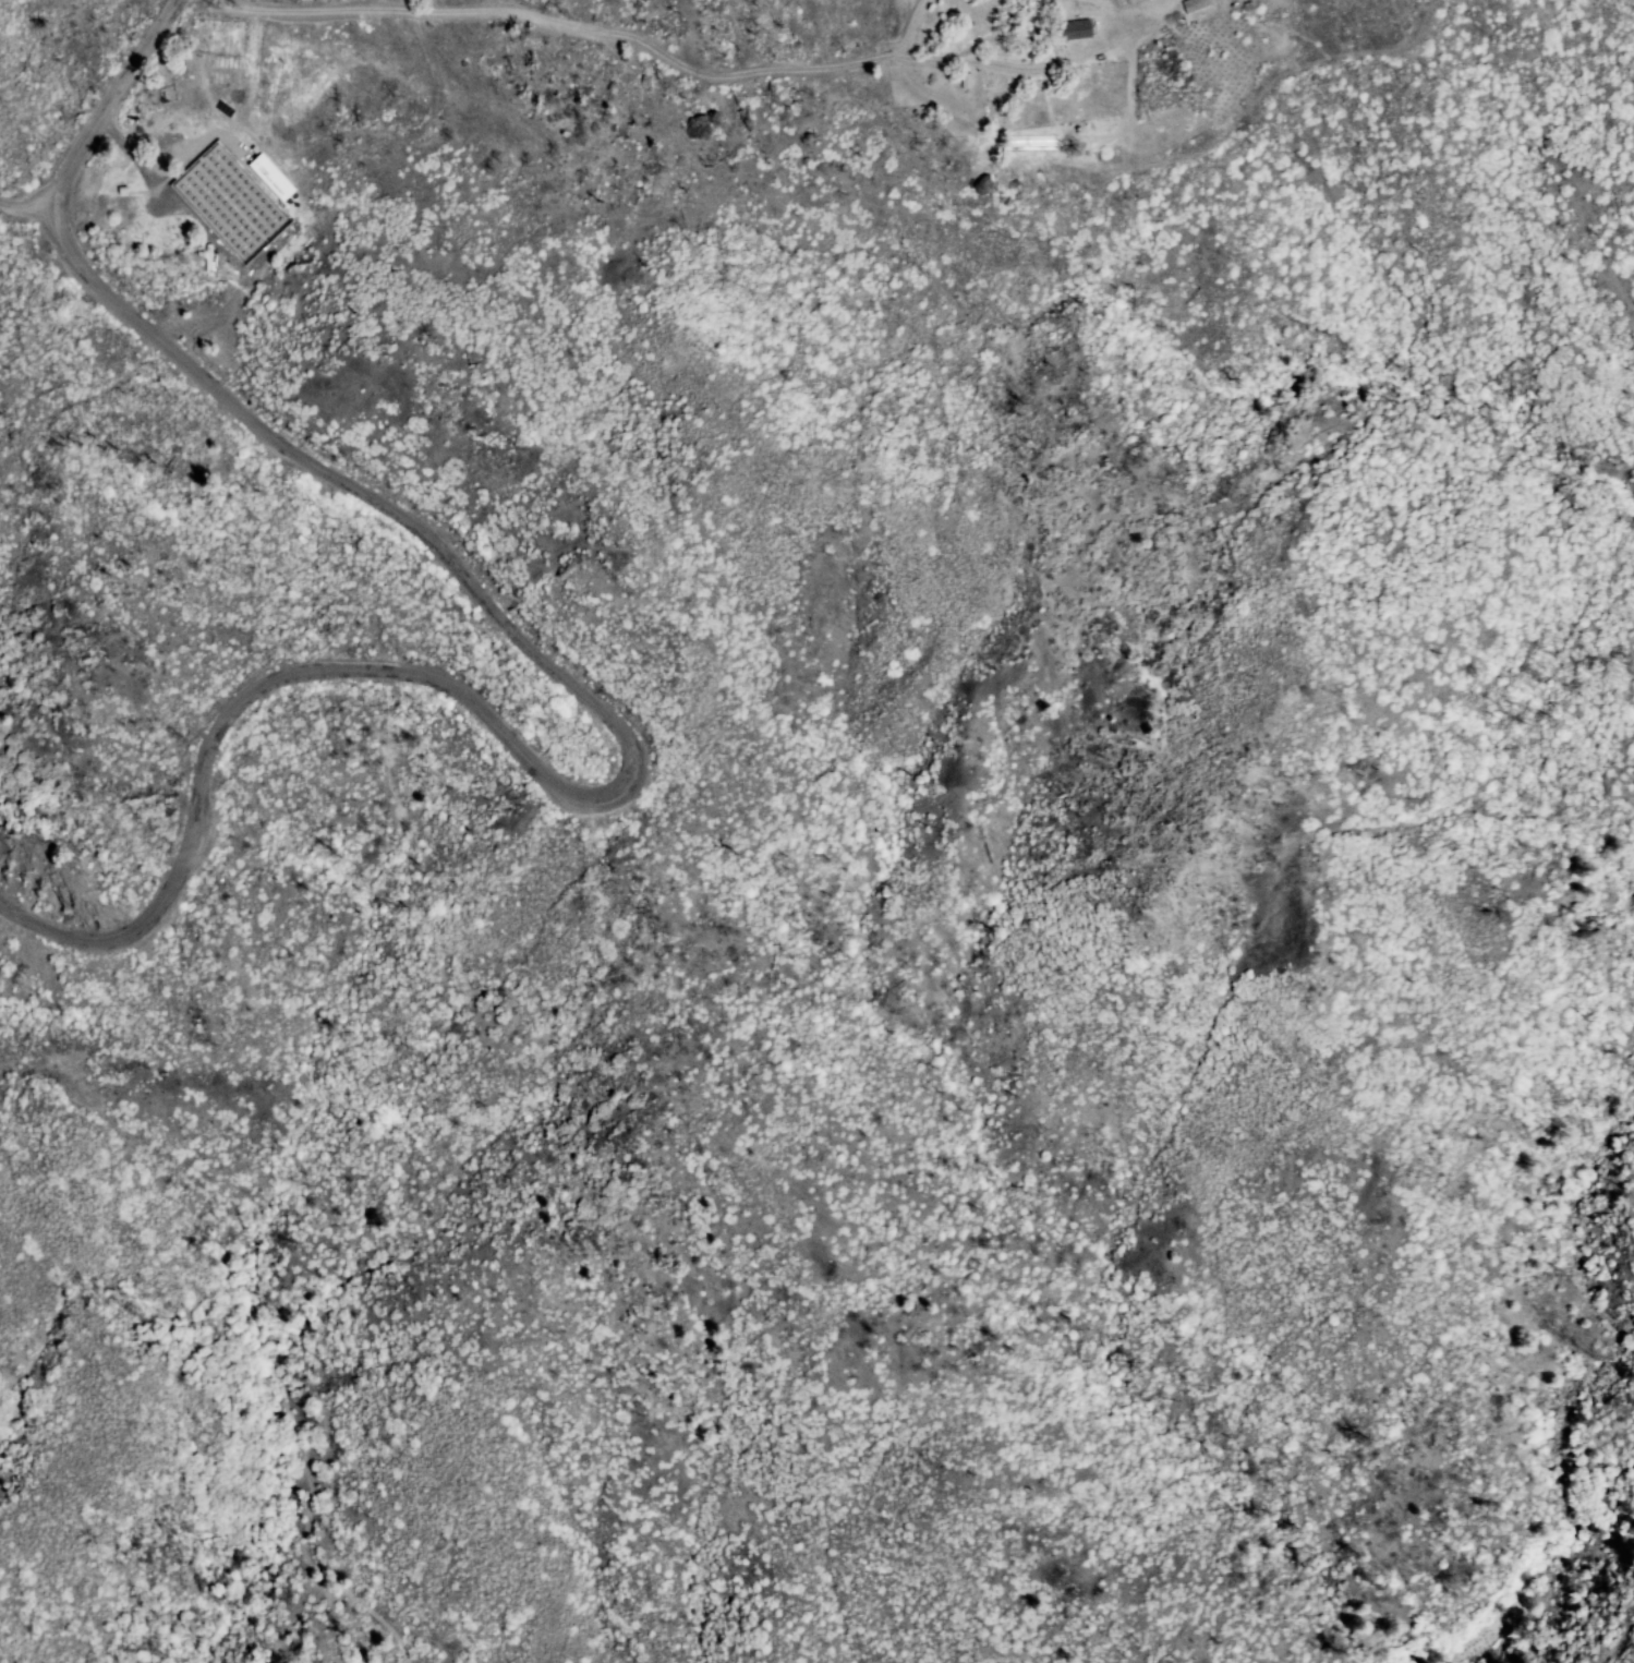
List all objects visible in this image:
building: (1159, 4)
building: (1197, 4)
road: (358, 5)
road: (910, 28)
building: (1077, 29)
road: (919, 61)
building: (966, 81)
building: (206, 120)
building: (271, 178)
road: (31, 208)
building: (215, 251)
building: (238, 256)
road: (576, 686)

